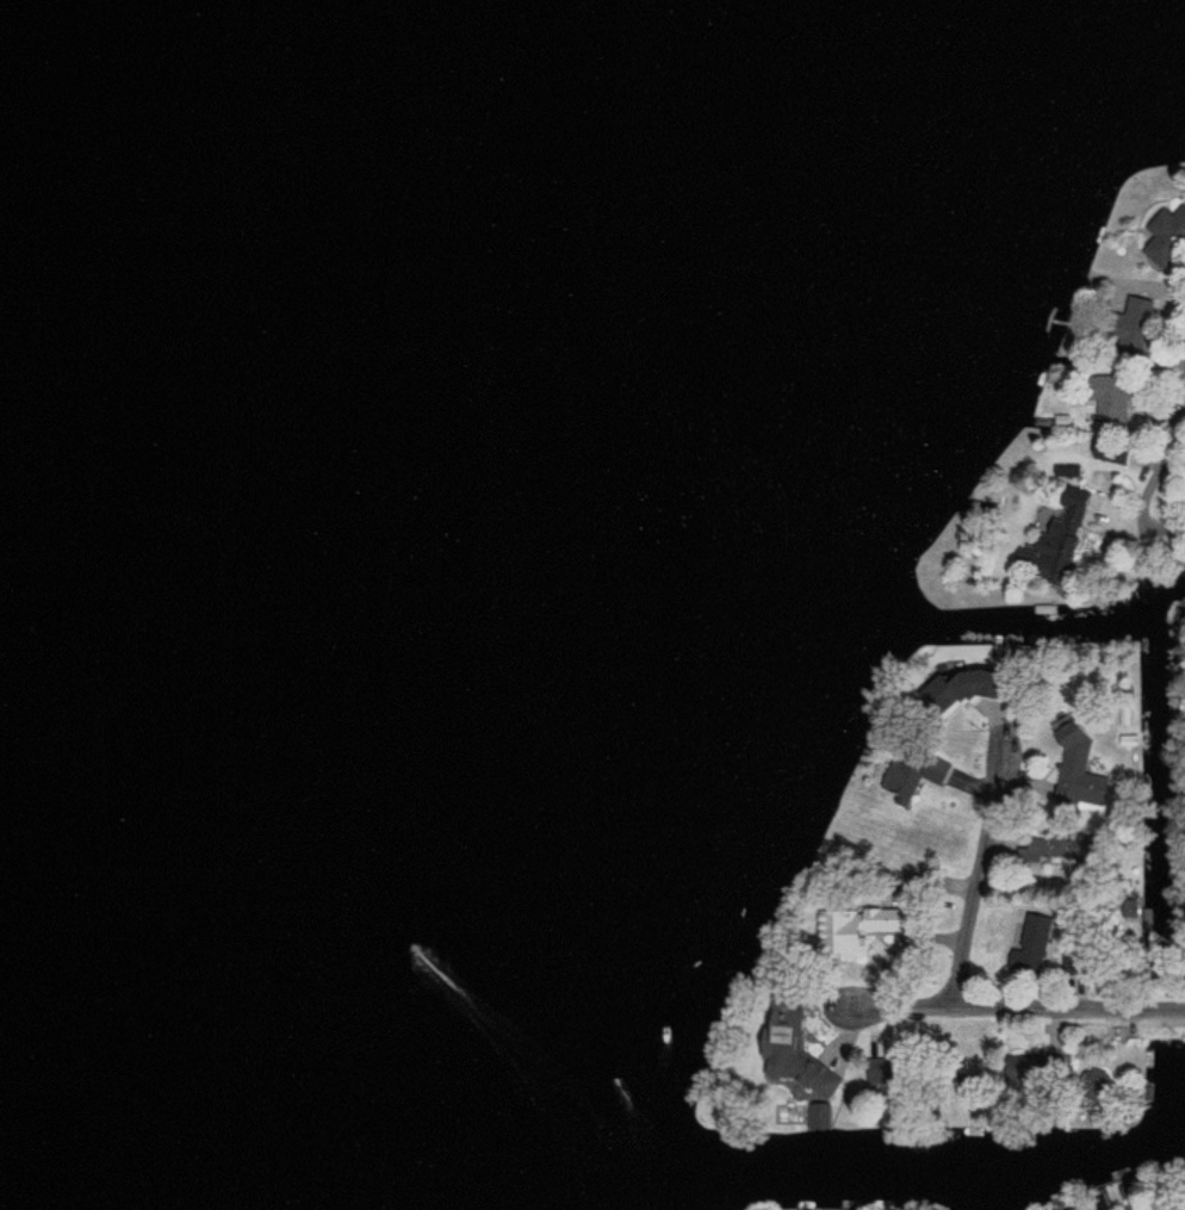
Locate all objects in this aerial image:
building: (1166, 235)
building: (1133, 322)
building: (1108, 393)
road: (1173, 433)
building: (951, 690)
building: (1078, 769)
building: (1055, 848)
road: (982, 879)
building: (1037, 932)
road: (1013, 1007)
building: (792, 1055)
building: (1139, 1208)

